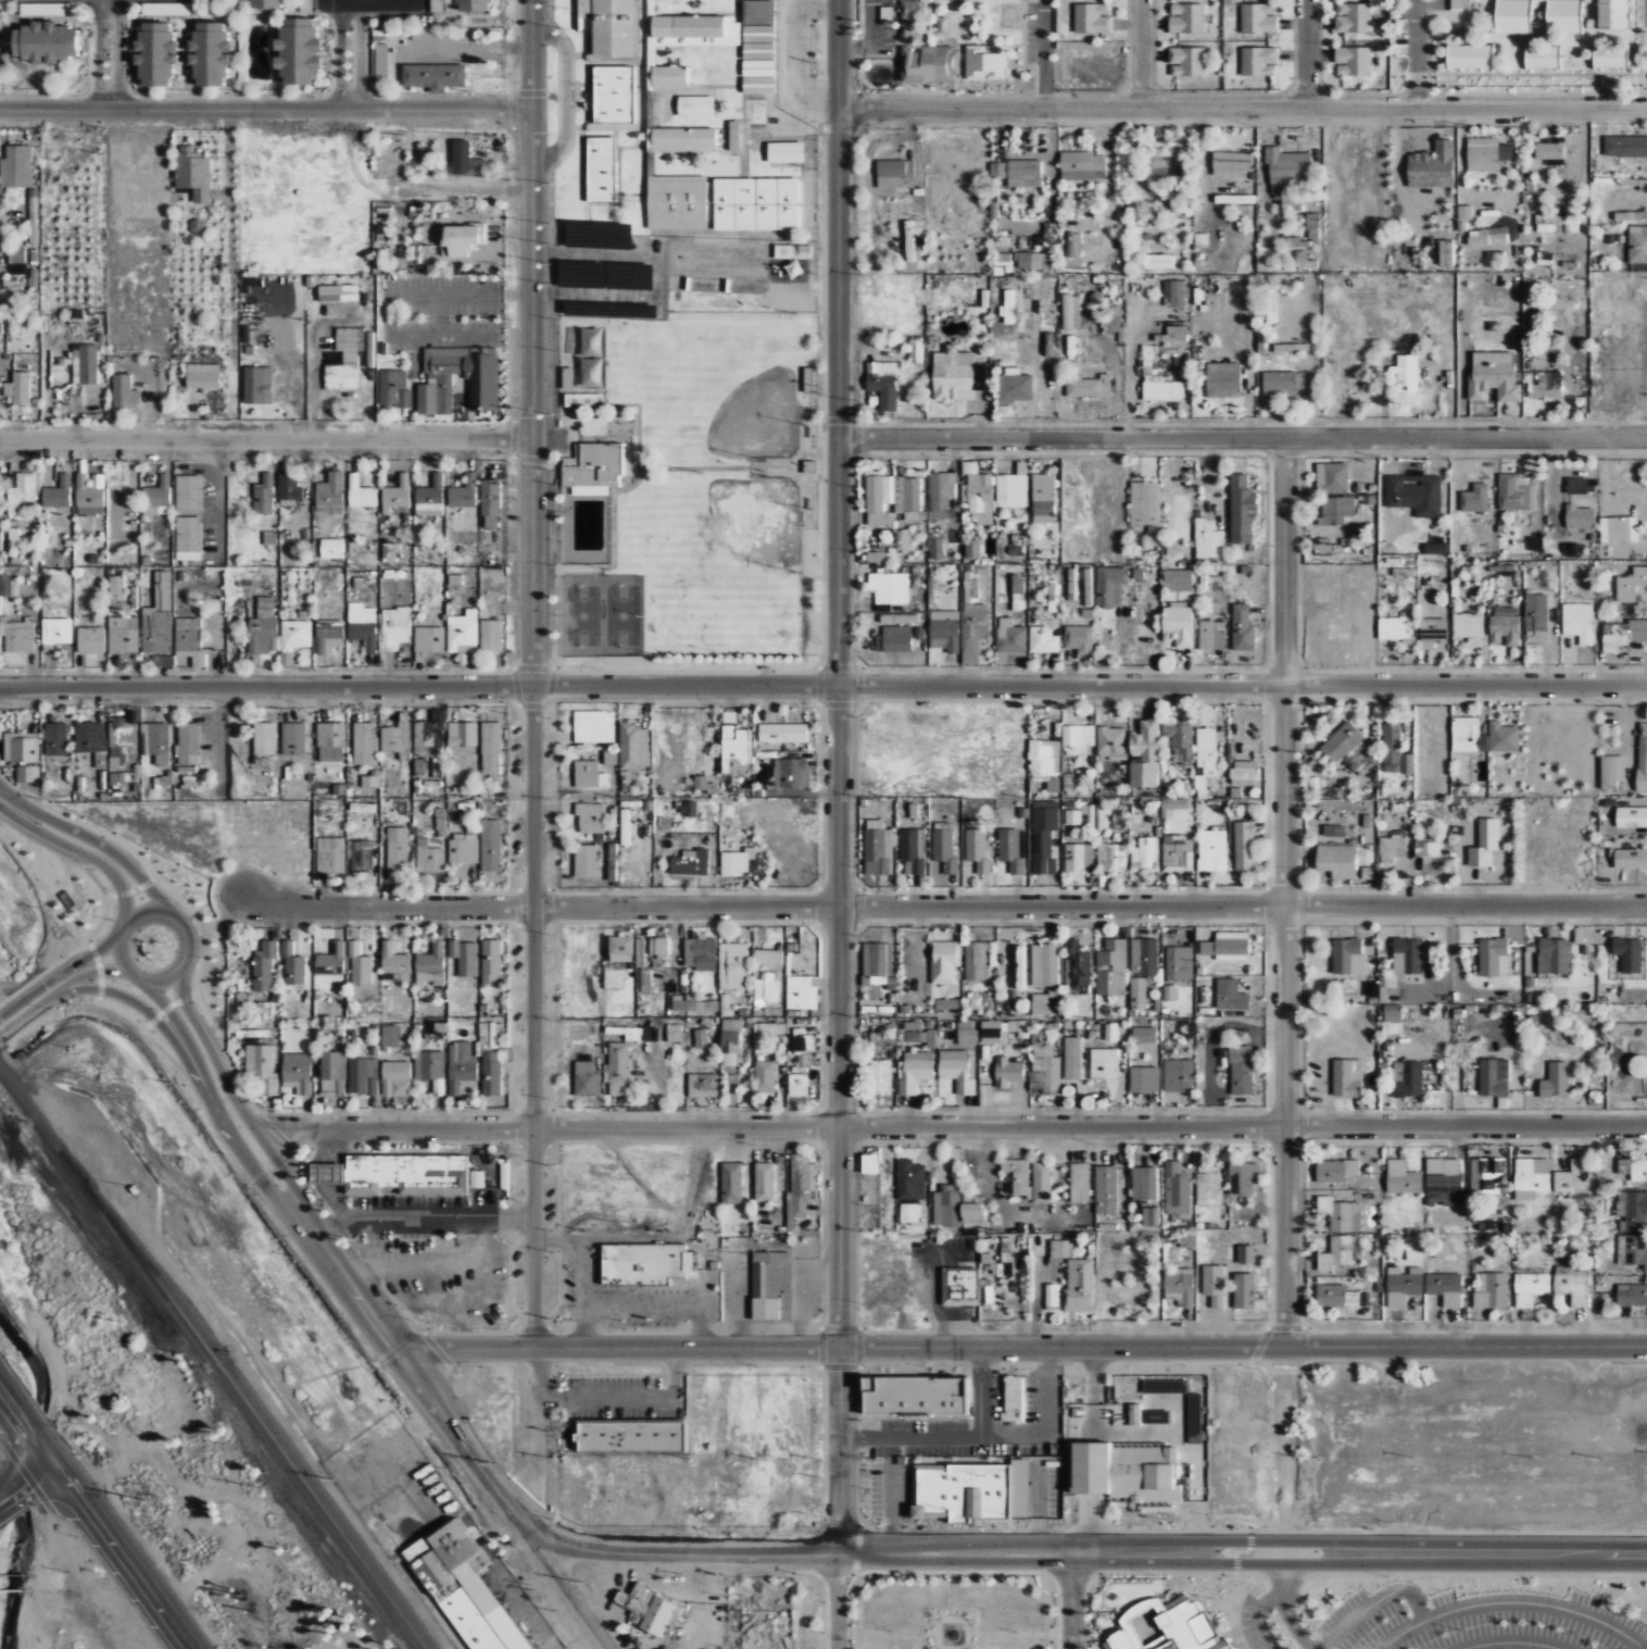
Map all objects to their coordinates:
building: (264, 3)
building: (1456, 4)
building: (305, 5)
building: (474, 5)
road: (382, 8)
building: (46, 9)
building: (758, 12)
building: (1611, 13)
building: (1513, 16)
building: (1563, 16)
building: (1186, 17)
building: (1258, 17)
building: (1353, 17)
building: (910, 18)
building: (1091, 18)
building: (941, 25)
building: (609, 26)
building: (693, 26)
building: (42, 42)
building: (296, 51)
road: (882, 51)
road: (104, 52)
road: (125, 52)
road: (1055, 52)
road: (1133, 52)
road: (1302, 52)
building: (154, 53)
building: (209, 53)
road: (1415, 53)
road: (347, 55)
building: (1470, 55)
road: (367, 57)
building: (1543, 57)
building: (1610, 57)
building: (757, 59)
building: (1186, 61)
building: (1258, 61)
building: (1353, 61)
building: (984, 62)
building: (381, 64)
building: (929, 64)
building: (433, 76)
building: (668, 78)
building: (614, 93)
road: (264, 104)
road: (1240, 104)
building: (695, 107)
building: (733, 135)
building: (682, 139)
building: (1625, 146)
building: (1549, 150)
building: (784, 152)
building: (1486, 153)
building: (462, 159)
building: (1231, 163)
building: (1286, 164)
building: (1082, 165)
building: (1161, 165)
building: (14, 166)
building: (1432, 166)
building: (601, 168)
building: (192, 173)
building: (893, 173)
building: (1023, 173)
building: (1233, 199)
building: (677, 203)
building: (755, 203)
building: (33, 216)
building: (1556, 223)
building: (1311, 226)
building: (1486, 236)
building: (910, 238)
building: (461, 239)
building: (1298, 242)
building: (1637, 243)
building: (1072, 245)
building: (793, 251)
building: (1445, 252)
building: (15, 260)
building: (1040, 260)
building: (1303, 260)
building: (1157, 261)
building: (793, 268)
road: (394, 291)
building: (337, 292)
building: (1173, 292)
building: (1006, 308)
building: (1070, 311)
building: (1173, 334)
building: (1292, 348)
building: (344, 359)
building: (1406, 373)
building: (956, 375)
building: (202, 376)
building: (1493, 376)
building: (482, 378)
building: (1223, 379)
building: (882, 383)
building: (1282, 383)
building: (256, 385)
building: (1544, 385)
building: (1089, 386)
building: (1159, 386)
building: (1015, 388)
building: (18, 389)
building: (394, 389)
building: (124, 391)
building: (586, 400)
road: (1241, 434)
road: (262, 437)
park: (678, 452)
building: (592, 465)
building: (809, 466)
building: (1331, 477)
building: (1580, 485)
building: (288, 487)
building: (1013, 488)
building: (24, 490)
building: (189, 492)
building: (361, 492)
building: (464, 492)
building: (942, 492)
building: (979, 492)
building: (1516, 492)
building: (58, 494)
building: (397, 494)
building: (1415, 494)
building: (330, 495)
building: (158, 496)
building: (264, 496)
building: (88, 497)
building: (430, 497)
building: (1043, 498)
building: (1474, 498)
building: (911, 499)
building: (879, 500)
building: (490, 503)
building: (1144, 503)
building: (1336, 509)
building: (1241, 511)
building: (1580, 516)
building: (1619, 529)
building: (188, 538)
building: (269, 538)
building: (1207, 539)
building: (902, 540)
building: (1321, 544)
building: (935, 547)
building: (331, 548)
building: (972, 548)
building: (1437, 548)
building: (389, 552)
building: (875, 557)
building: (391, 576)
building: (340, 579)
building: (1178, 579)
building: (1631, 585)
building: (116, 586)
building: (970, 586)
building: (1109, 586)
building: (890, 587)
building: (159, 617)
building: (1536, 617)
building: (1579, 622)
building: (328, 624)
building: (1178, 624)
building: (263, 627)
building: (362, 627)
building: (394, 627)
building: (1468, 627)
building: (1242, 628)
building: (1504, 629)
building: (945, 630)
building: (1396, 630)
building: (1432, 632)
building: (55, 633)
building: (463, 633)
building: (17, 634)
building: (124, 634)
building: (188, 634)
building: (973, 634)
building: (1211, 635)
building: (1623, 635)
building: (490, 636)
building: (1010, 636)
building: (293, 638)
building: (896, 638)
building: (1080, 638)
building: (91, 639)
building: (429, 639)
building: (1044, 639)
road: (527, 673)
road: (823, 684)
building: (438, 715)
building: (594, 726)
building: (0, 729)
building: (782, 733)
building: (463, 734)
building: (1468, 735)
building: (430, 736)
building: (1079, 737)
building: (1503, 737)
building: (264, 738)
building: (293, 738)
building: (1181, 738)
building: (56, 739)
building: (1111, 740)
building: (156, 741)
building: (330, 741)
building: (1342, 741)
building: (365, 742)
building: (188, 744)
building: (633, 746)
building: (491, 748)
building: (25, 750)
building: (736, 750)
building: (1395, 751)
building: (1145, 754)
building: (1044, 757)
building: (1206, 757)
building: (1643, 758)
building: (1611, 771)
building: (766, 772)
building: (1244, 772)
building: (792, 773)
building: (27, 774)
building: (589, 775)
road: (833, 776)
building: (370, 780)
building: (338, 789)
building: (1172, 805)
building: (689, 810)
building: (1631, 816)
road: (46, 817)
building: (591, 817)
building: (1072, 817)
building: (1334, 830)
building: (1044, 836)
building: (1484, 844)
building: (492, 846)
building: (1244, 846)
building: (944, 847)
building: (464, 848)
building: (878, 848)
building: (1392, 848)
building: (1426, 848)
building: (399, 850)
building: (913, 850)
building: (977, 850)
building: (1010, 850)
building: (1212, 851)
building: (1145, 853)
building: (1177, 853)
road: (84, 854)
building: (330, 854)
building: (362, 855)
building: (1112, 857)
building: (430, 858)
building: (1631, 859)
building: (1079, 860)
building: (1337, 860)
building: (586, 861)
building: (737, 862)
building: (688, 863)
building: (1367, 872)
road: (140, 874)
road: (945, 903)
road: (1281, 903)
road: (150, 915)
road: (232, 924)
road: (206, 928)
road: (127, 935)
building: (658, 946)
building: (1227, 946)
building: (620, 949)
road: (113, 950)
building: (641, 952)
building: (700, 952)
building: (1627, 952)
building: (1347, 954)
building: (1492, 954)
building: (1554, 954)
building: (1143, 955)
building: (1408, 955)
building: (465, 957)
building: (768, 958)
road: (125, 961)
building: (331, 961)
building: (943, 961)
building: (977, 961)
building: (1178, 962)
building: (395, 963)
building: (492, 963)
building: (877, 963)
building: (360, 964)
building: (1044, 964)
road: (196, 965)
building: (264, 965)
building: (293, 965)
building: (430, 965)
building: (732, 965)
building: (1079, 967)
building: (1111, 967)
road: (91, 980)
building: (645, 980)
road: (139, 982)
road: (108, 984)
road: (54, 988)
building: (766, 988)
building: (1139, 990)
building: (801, 992)
building: (1230, 995)
building: (947, 1003)
building: (1044, 1003)
building: (692, 1004)
building: (725, 1004)
road: (33, 1013)
building: (1392, 1019)
road: (197, 1021)
road: (5, 1027)
road: (164, 1029)
building: (1109, 1030)
building: (674, 1033)
building: (918, 1033)
building: (966, 1033)
building: (1144, 1034)
building: (390, 1035)
building: (730, 1035)
building: (700, 1037)
building: (801, 1040)
railway: (4, 1047)
building: (491, 1058)
building: (1071, 1058)
building: (1103, 1063)
building: (1637, 1064)
building: (1046, 1066)
building: (262, 1067)
building: (618, 1067)
building: (462, 1070)
building: (956, 1070)
building: (1240, 1070)
building: (915, 1071)
building: (1007, 1071)
building: (298, 1072)
building: (334, 1073)
building: (1178, 1074)
building: (364, 1075)
building: (765, 1076)
building: (880, 1076)
building: (397, 1077)
building: (1347, 1077)
building: (1493, 1077)
building: (587, 1078)
building: (1144, 1078)
building: (1407, 1078)
building: (1555, 1079)
building: (797, 1084)
building: (702, 1085)
road: (239, 1098)
road: (222, 1116)
road: (953, 1125)
building: (868, 1163)
building: (1335, 1170)
building: (1638, 1170)
building: (325, 1173)
building: (405, 1173)
building: (1485, 1174)
building: (1016, 1175)
building: (1573, 1176)
building: (1243, 1177)
building: (1401, 1177)
building: (475, 1178)
building: (1533, 1178)
building: (909, 1179)
building: (1445, 1179)
building: (765, 1182)
building: (1042, 1182)
road: (289, 1183)
building: (731, 1183)
building: (1080, 1183)
building: (1144, 1183)
building: (1208, 1185)
building: (801, 1186)
building: (1105, 1188)
building: (1177, 1191)
building: (955, 1207)
building: (1632, 1210)
building: (908, 1212)
building: (1341, 1213)
building: (1149, 1215)
road: (423, 1224)
road: (815, 1240)
road: (848, 1240)
building: (1061, 1248)
building: (1634, 1250)
building: (1340, 1252)
building: (1245, 1253)
building: (1170, 1254)
building: (645, 1263)
building: (1214, 1284)
building: (770, 1285)
building: (1079, 1285)
building: (961, 1286)
building: (1180, 1286)
building: (1445, 1287)
building: (1530, 1287)
building: (1580, 1287)
building: (1401, 1288)
building: (1244, 1290)
building: (1491, 1290)
building: (986, 1292)
building: (1330, 1295)
building: (1632, 1295)
building: (1051, 1296)
road: (1299, 1321)
road: (1269, 1322)
road: (1284, 1327)
road: (831, 1328)
road: (1307, 1328)
road: (781, 1329)
road: (1058, 1332)
road: (1260, 1342)
road: (813, 1345)
road: (851, 1346)
road: (1019, 1347)
railway: (208, 1358)
road: (1053, 1361)
road: (775, 1362)
road: (833, 1362)
road: (1010, 1369)
road: (908, 1370)
road: (943, 1370)
road: (975, 1370)
building: (1008, 1375)
road: (1095, 1375)
flagpole: (1004, 1381)
building: (1170, 1387)
road: (815, 1389)
road: (1048, 1390)
parking lot: (994, 1391)
building: (1013, 1399)
parking lot: (1031, 1399)
road: (430, 1401)
railway: (257, 1402)
road: (982, 1404)
parking lot: (935, 1406)
building: (1134, 1414)
building: (1002, 1417)
road: (24, 1419)
building: (1160, 1420)
building: (1198, 1421)
road: (1095, 1424)
building: (943, 1427)
building: (917, 1428)
road: (525, 1431)
building: (630, 1435)
road: (863, 1448)
road: (1285, 1451)
building: (1127, 1471)
road: (24, 1475)
parking lot: (1021, 1486)
parking lot: (1054, 1486)
building: (1018, 1488)
road: (1039, 1488)
parking lot: (876, 1489)
building: (948, 1491)
building: (994, 1491)
parking lot: (903, 1497)
road: (890, 1500)
building: (1137, 1501)
road: (1116, 1503)
road: (1137, 1503)
road: (1160, 1510)
road: (1191, 1510)
parking lot: (1181, 1511)
road: (997, 1520)
road: (973, 1521)
building: (973, 1522)
road: (1094, 1522)
road: (973, 1528)
road: (1171, 1531)
road: (1197, 1531)
road: (1039, 1535)
road: (1248, 1539)
road: (1420, 1541)
building: (416, 1549)
road: (124, 1550)
road: (1241, 1551)
road: (1017, 1552)
road: (696, 1553)
road: (1235, 1564)
road: (1420, 1564)
road: (808, 1572)
road: (951, 1572)
road: (1366, 1573)
road: (835, 1577)
road: (1069, 1577)
building: (466, 1588)
road: (1239, 1592)
road: (952, 1596)
road: (1193, 1598)
road: (766, 1600)
road: (835, 1600)
road: (1070, 1600)
building: (1174, 1600)
road: (1372, 1602)
road: (1508, 1602)
road: (587, 1603)
building: (644, 1607)
park: (951, 1610)
road: (1285, 1610)
road: (825, 1612)
road: (846, 1612)
road: (1225, 1612)
road: (1056, 1613)
road: (1083, 1613)
road: (1256, 1614)
road: (952, 1619)
building: (1215, 1622)
parking lot: (1442, 1622)
building: (1165, 1626)
road: (891, 1634)
fountain: (952, 1634)
road: (1013, 1635)
road: (1069, 1635)
road: (1509, 1640)
road: (1229, 1641)
building: (1106, 1644)
road: (1098, 1646)
building: (1235, 1647)
road: (1643, 1648)

